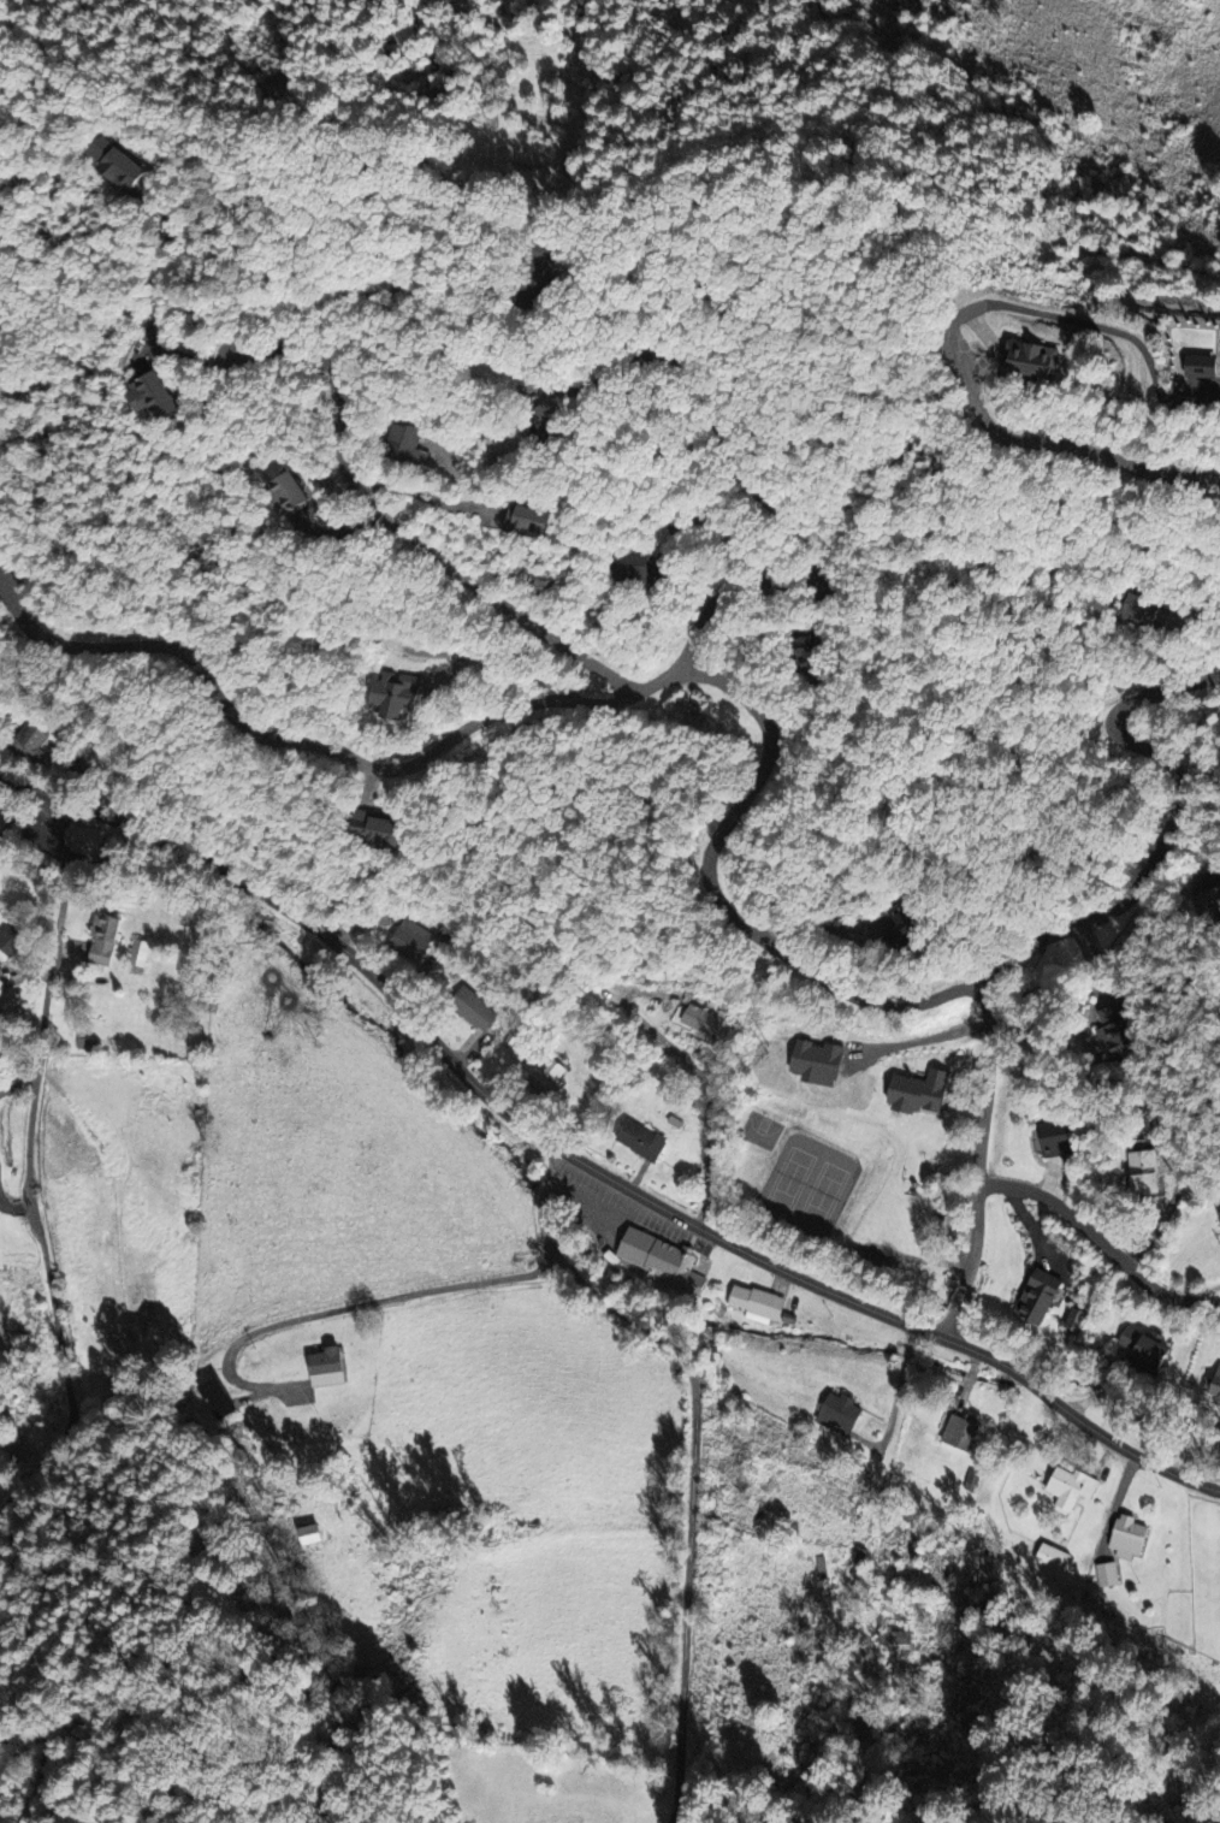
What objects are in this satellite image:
building: (117, 164)
building: (546, 265)
building: (1040, 359)
road: (685, 365)
building: (1208, 365)
road: (1143, 374)
building: (153, 395)
road: (1209, 404)
building: (546, 416)
road: (983, 420)
building: (407, 440)
building: (288, 492)
road: (421, 492)
building: (528, 521)
road: (395, 522)
building: (633, 568)
road: (722, 594)
building: (1144, 608)
road: (1204, 618)
building: (805, 651)
building: (397, 693)
road: (596, 693)
building: (29, 742)
building: (378, 828)
building: (82, 839)
road: (858, 844)
building: (1210, 899)
building: (901, 925)
road: (1044, 936)
building: (103, 937)
building: (410, 939)
building: (10, 940)
building: (138, 952)
building: (473, 1008)
building: (701, 1019)
building: (1113, 1032)
building: (819, 1061)
building: (549, 1077)
building: (919, 1091)
road: (706, 1100)
park: (759, 1131)
building: (641, 1140)
road: (588, 1162)
road: (30, 1167)
building: (1144, 1171)
park: (807, 1184)
road: (1173, 1196)
road: (541, 1200)
road: (1102, 1244)
building: (662, 1261)
building: (1040, 1296)
road: (377, 1300)
building: (757, 1303)
building: (1074, 1319)
building: (1145, 1348)
building: (326, 1367)
building: (1213, 1386)
building: (213, 1396)
building: (840, 1414)
building: (960, 1431)
building: (1070, 1487)
road: (689, 1505)
building: (310, 1534)
building: (1127, 1538)
building: (1053, 1557)
building: (1107, 1574)
building: (895, 1641)

